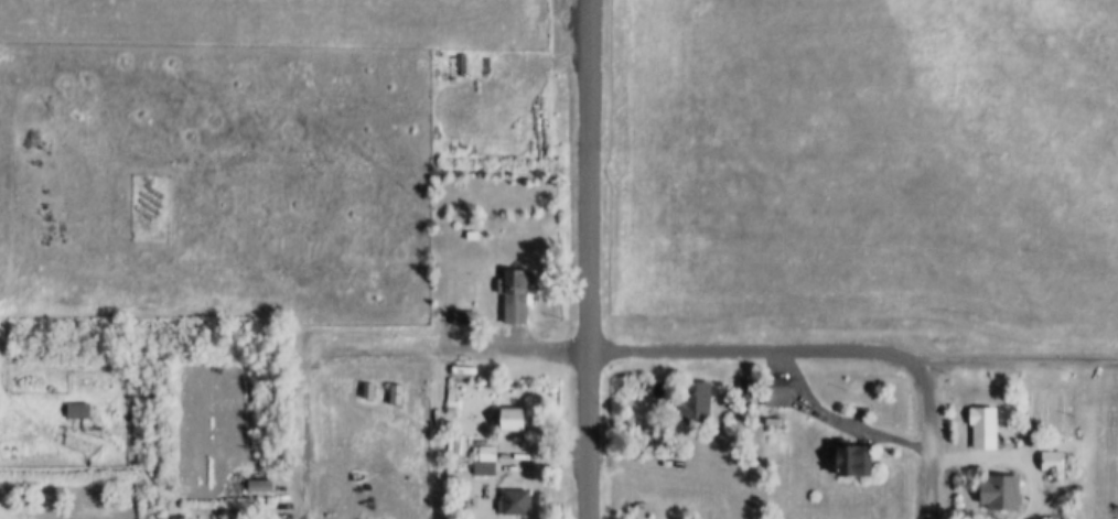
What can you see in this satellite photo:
road: (585, 179)
building: (514, 298)
road: (363, 358)
road: (756, 358)
road: (1023, 358)
building: (775, 391)
building: (741, 397)
building: (690, 401)
building: (76, 410)
building: (509, 418)
building: (980, 428)
road: (436, 439)
road: (584, 439)
road: (928, 439)
building: (483, 459)
building: (851, 459)
building: (1052, 461)
building: (257, 485)
building: (997, 493)
building: (513, 501)

